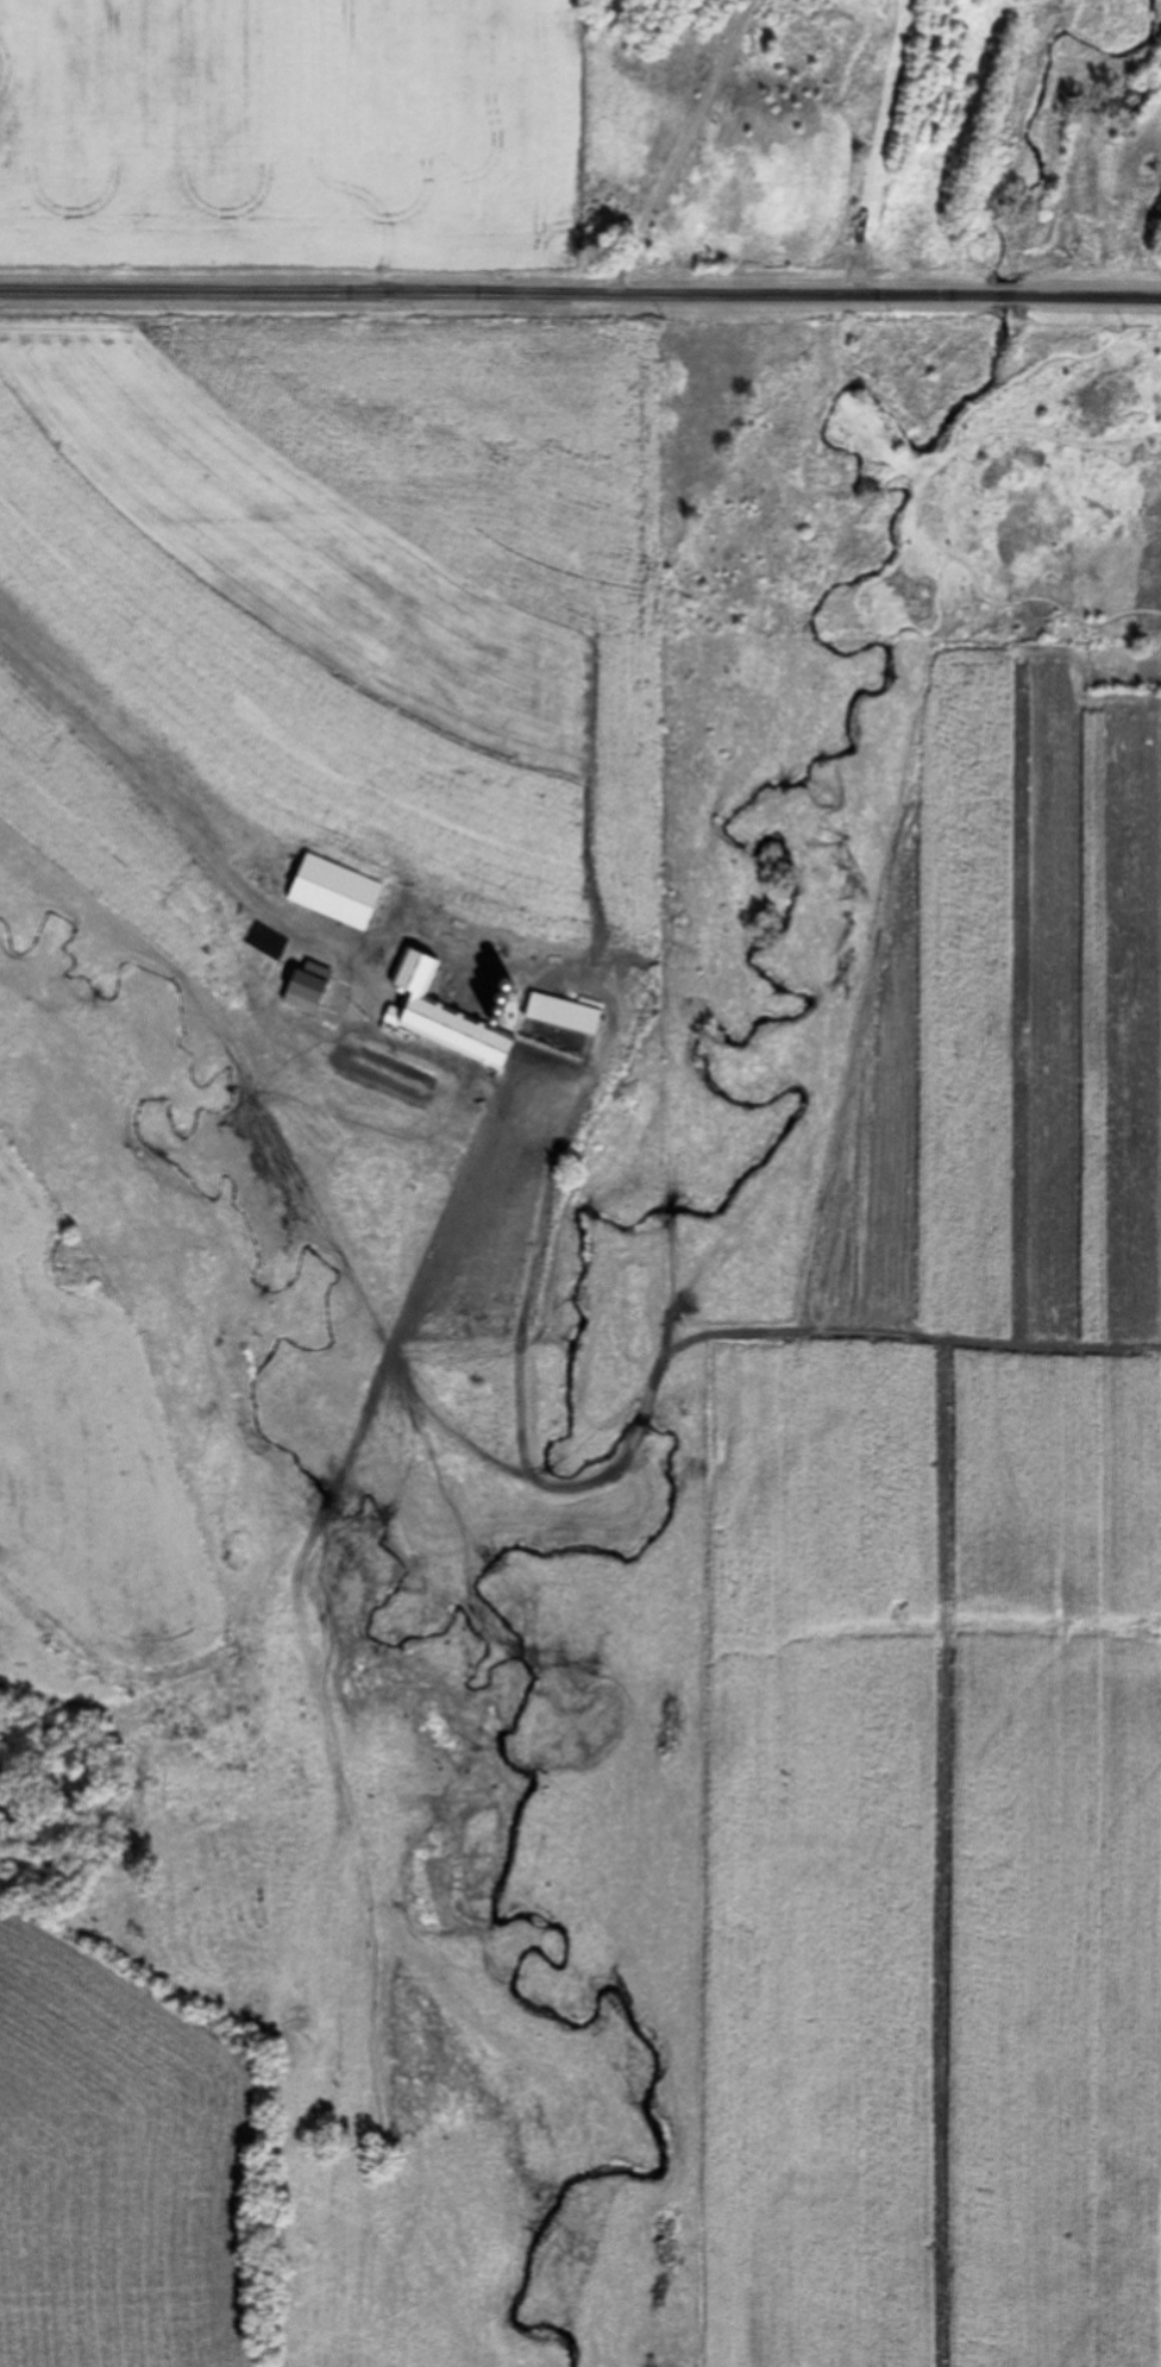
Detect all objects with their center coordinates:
road: (664, 151)
road: (580, 301)

